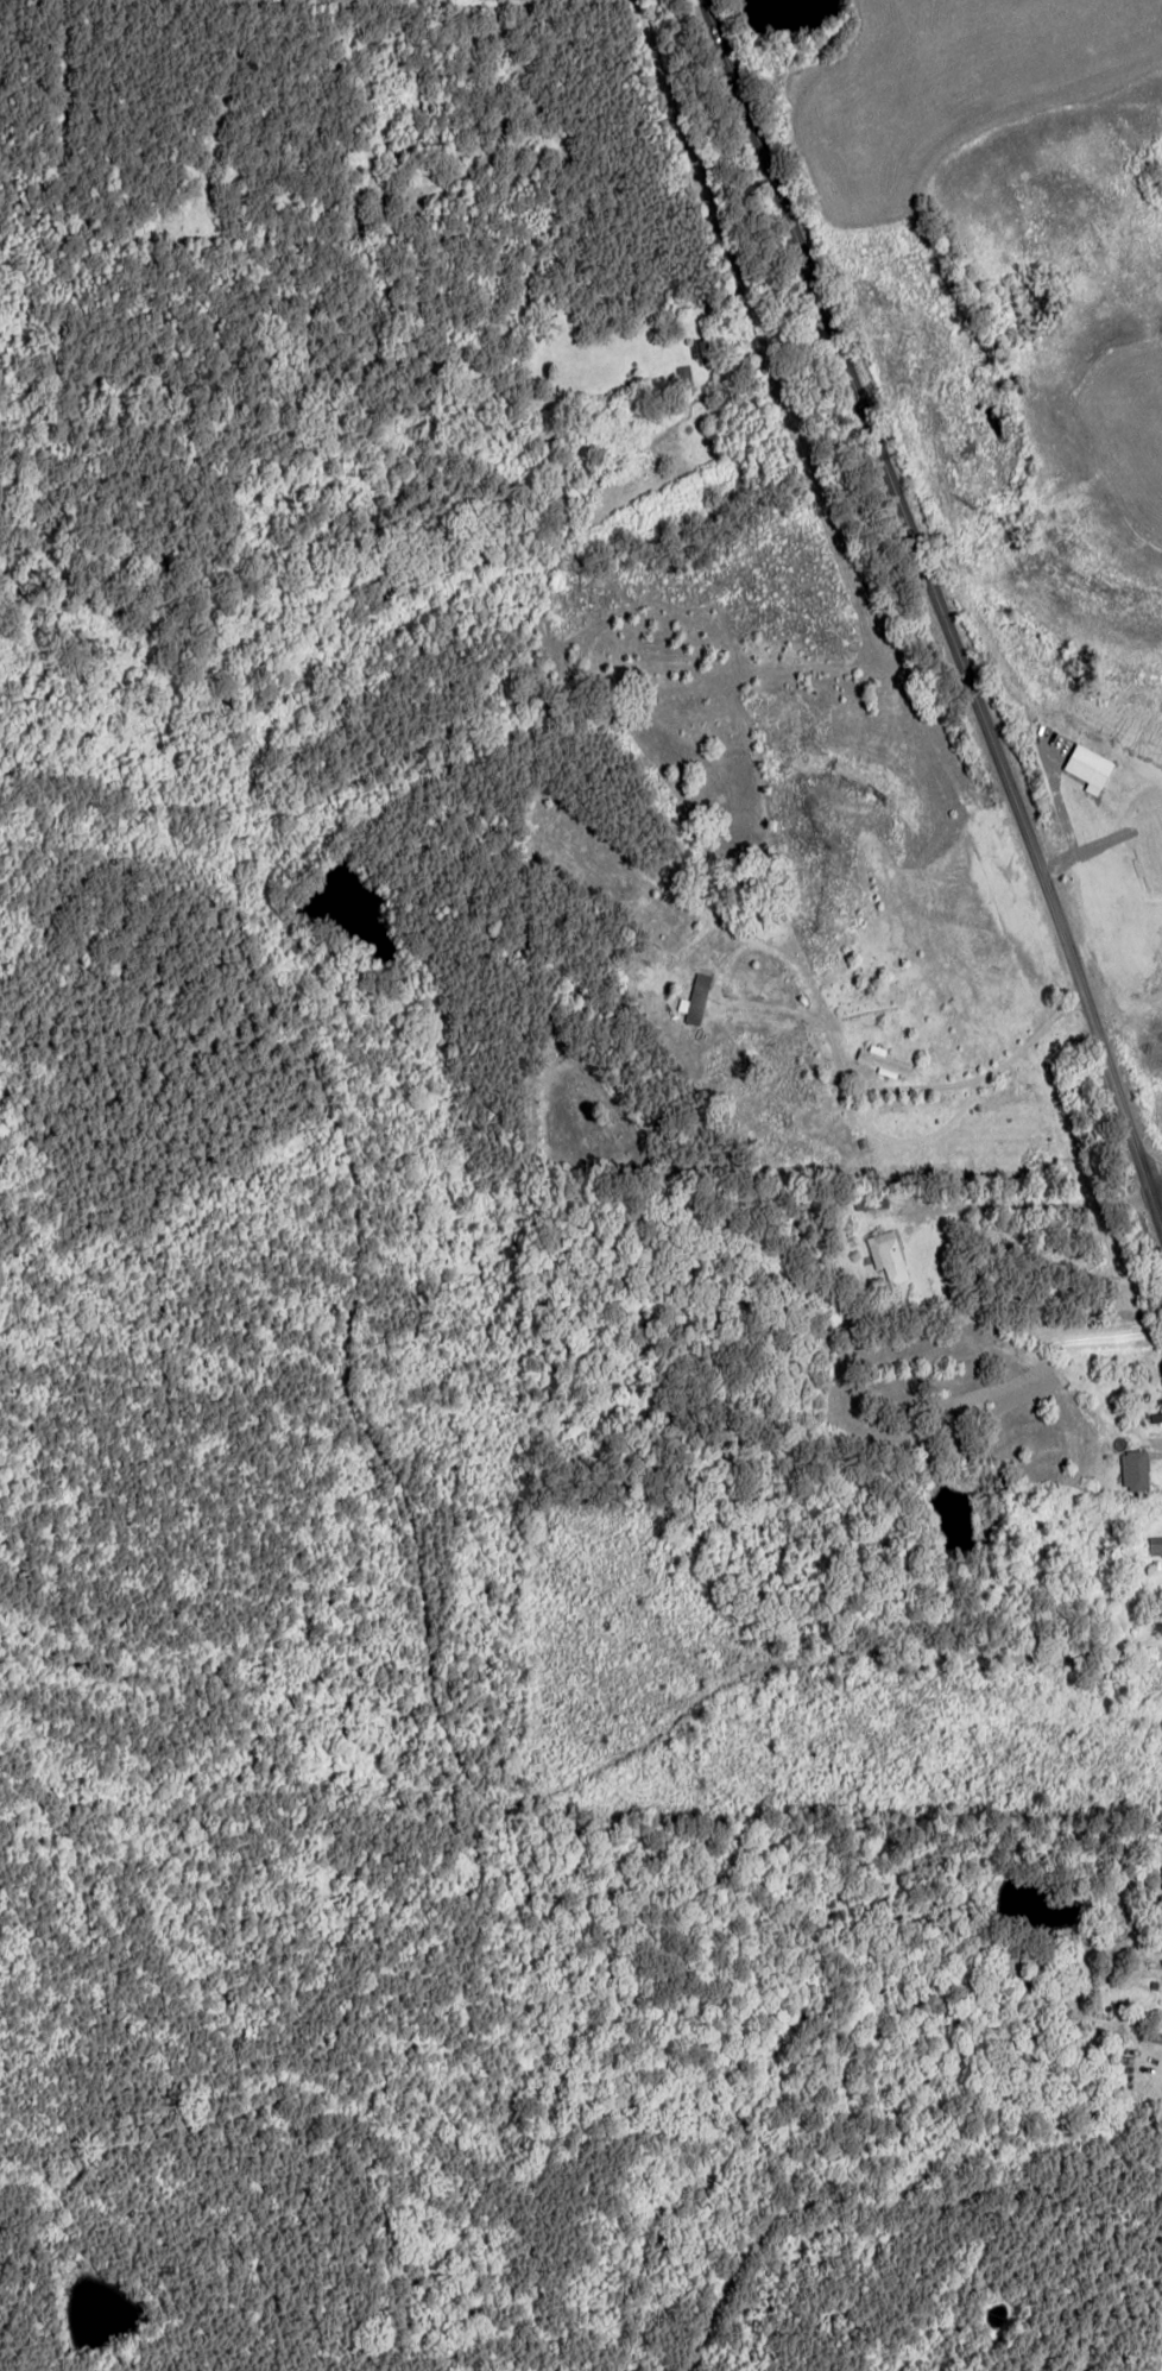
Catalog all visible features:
building: (700, 351)
road: (927, 597)
building: (696, 998)
building: (883, 1061)
building: (886, 1254)
road: (1013, 1442)
building: (1133, 1469)
building: (1155, 1544)

